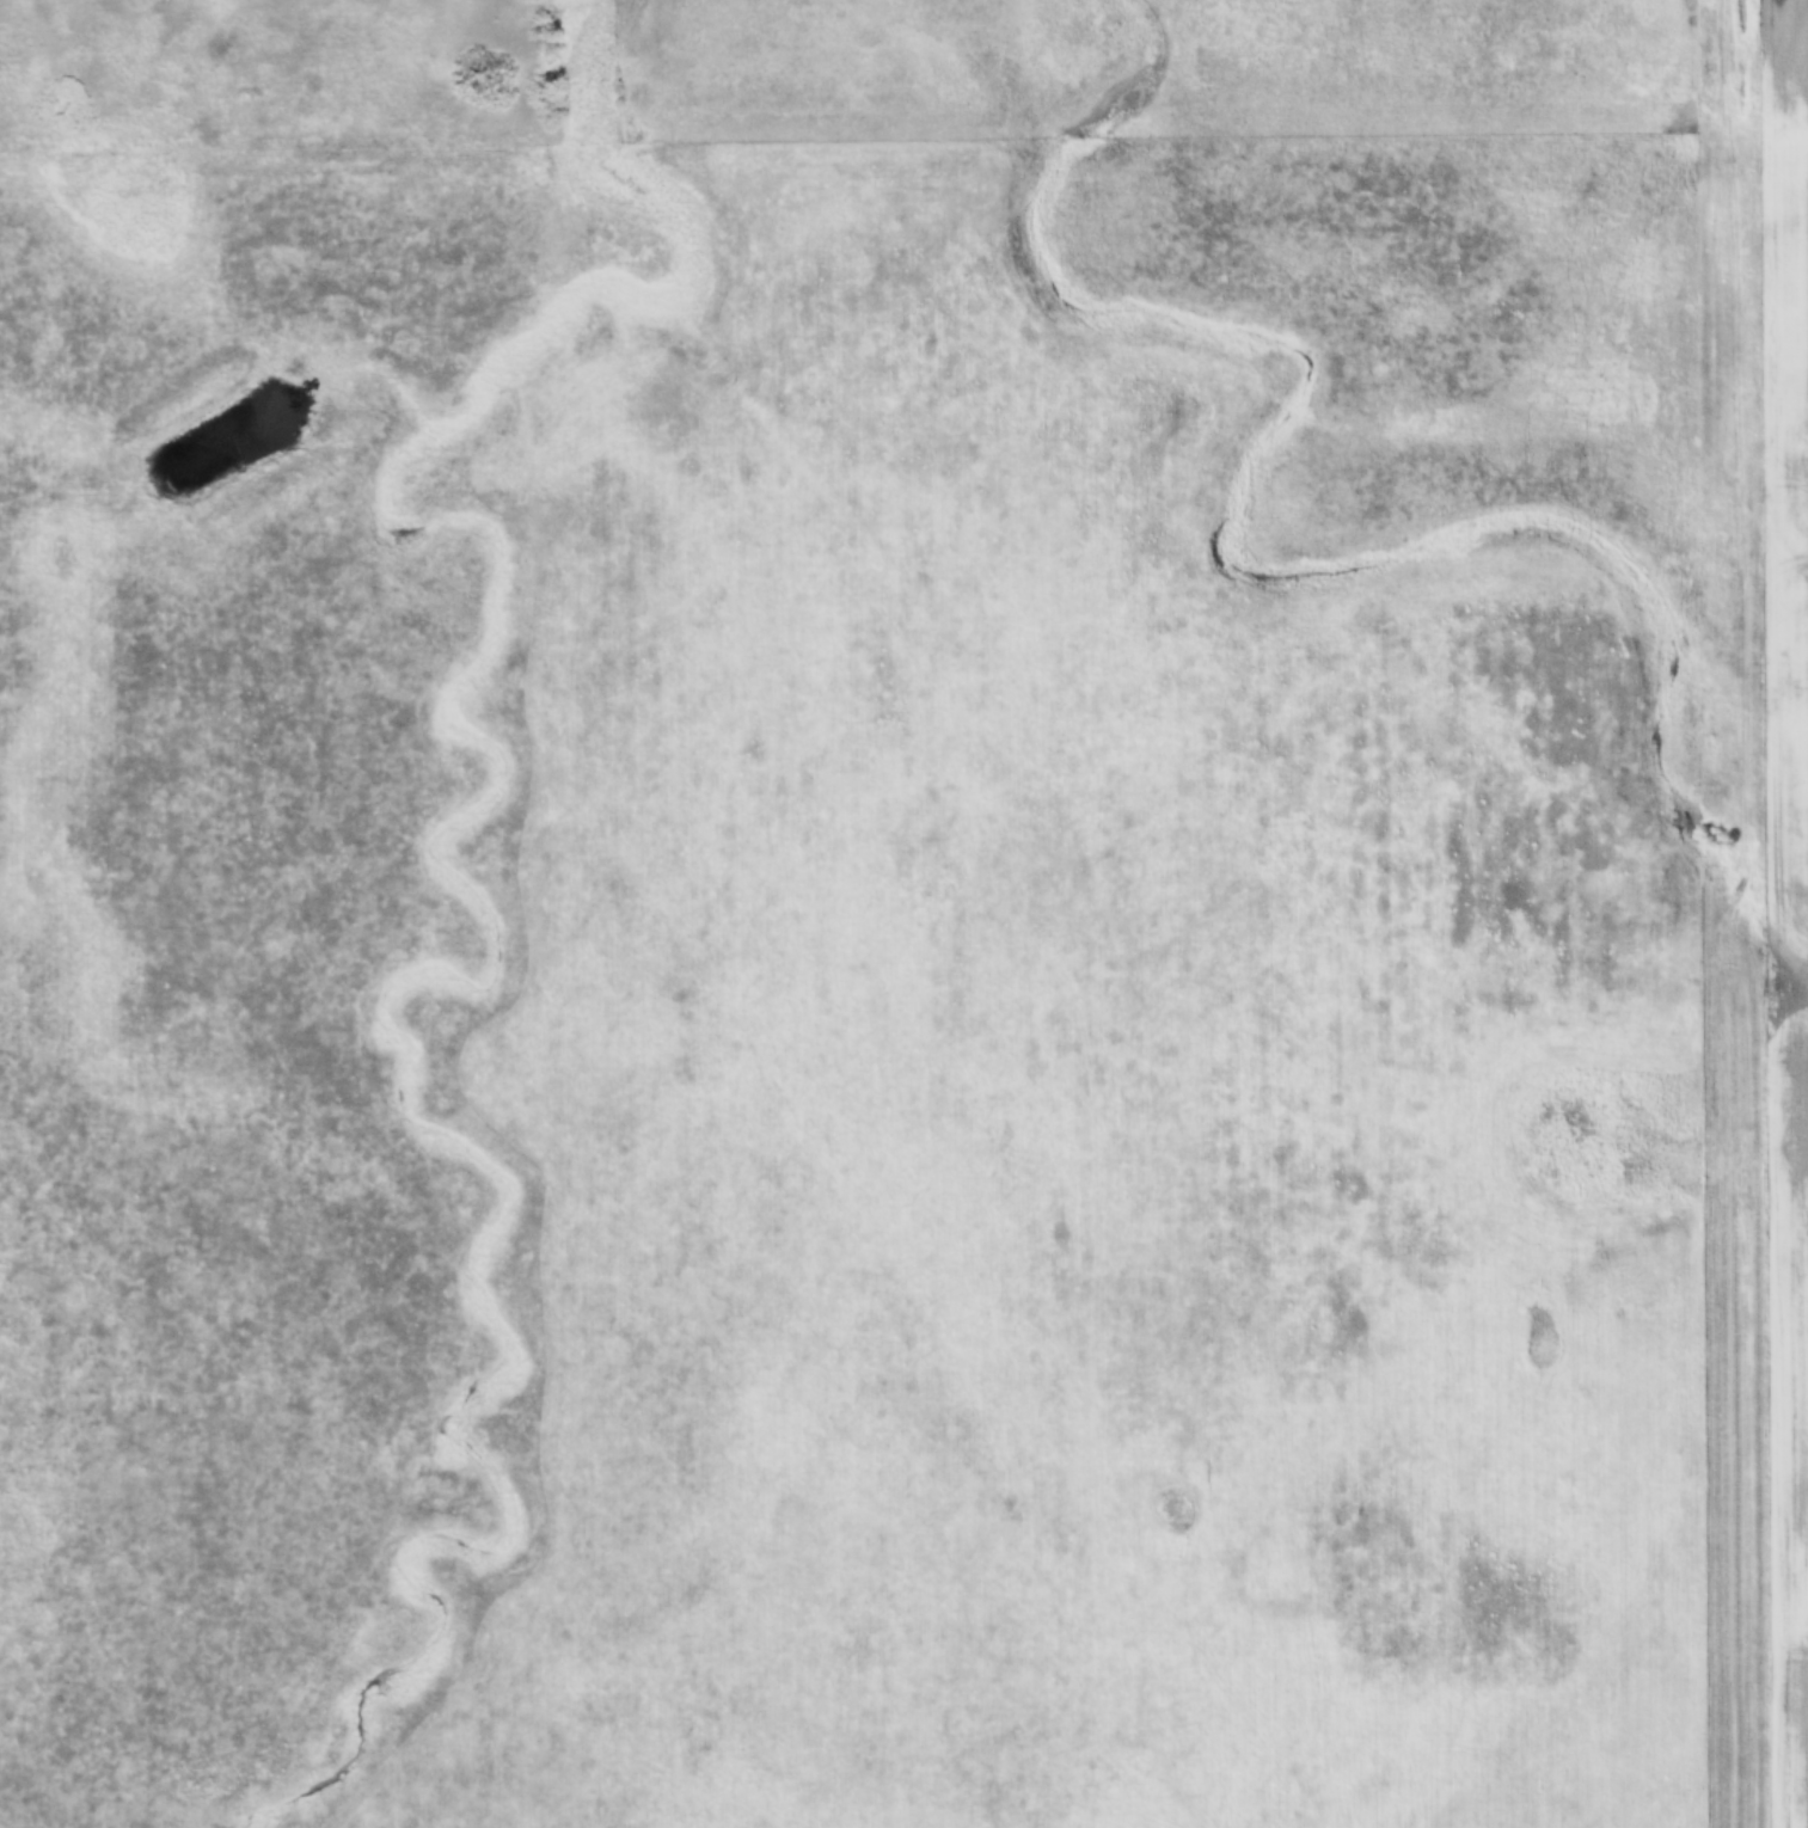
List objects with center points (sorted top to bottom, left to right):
road: (1729, 914)

